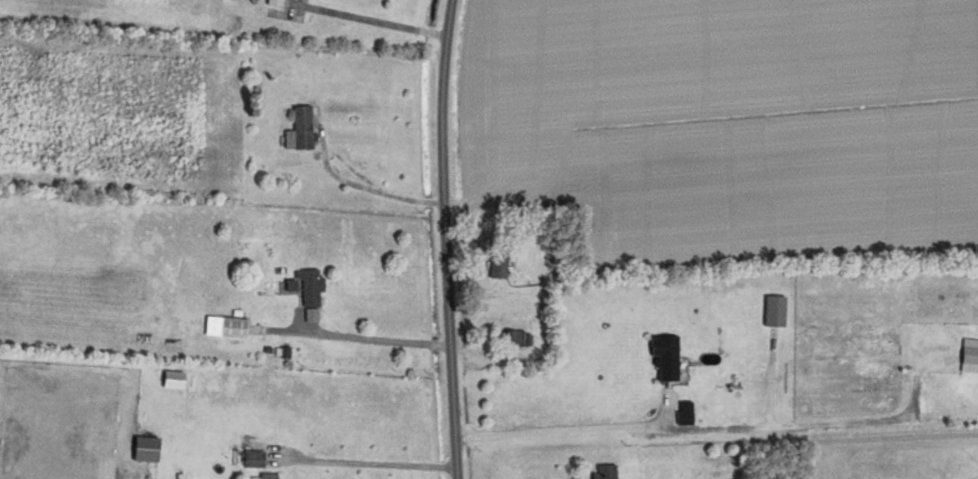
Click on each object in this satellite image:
building: (275, 2)
building: (299, 129)
road: (448, 239)
building: (498, 267)
building: (310, 288)
building: (233, 327)
road: (380, 335)
building: (516, 338)
building: (665, 357)
building: (969, 357)
building: (685, 415)
road: (559, 427)
building: (145, 450)
building: (253, 459)
road: (372, 460)
building: (606, 472)
building: (267, 476)

